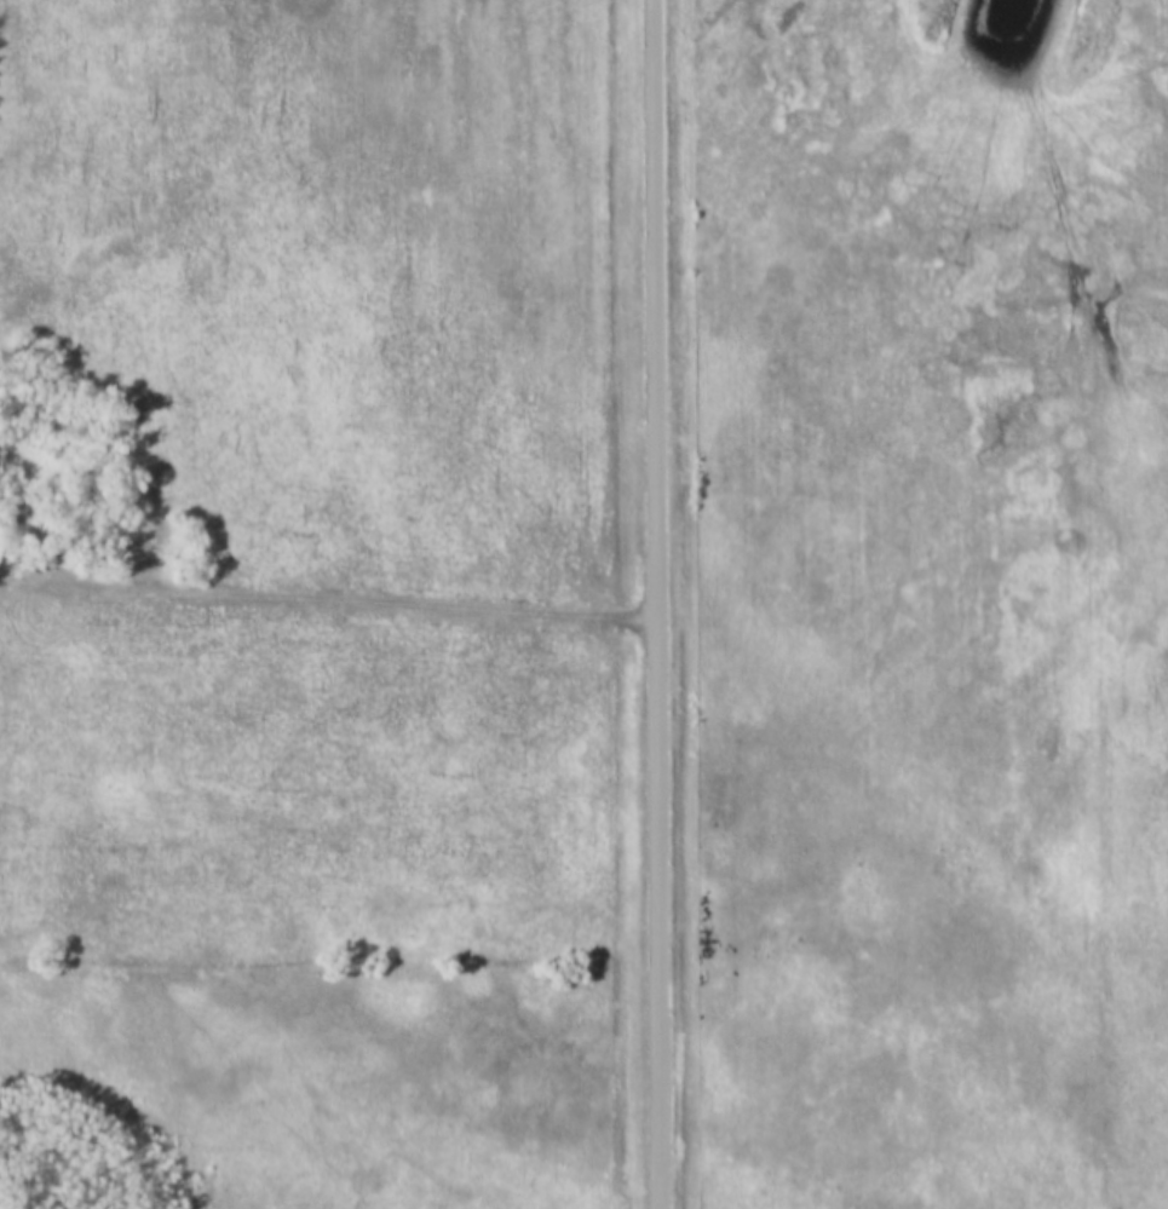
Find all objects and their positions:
road: (327, 591)
road: (652, 604)

